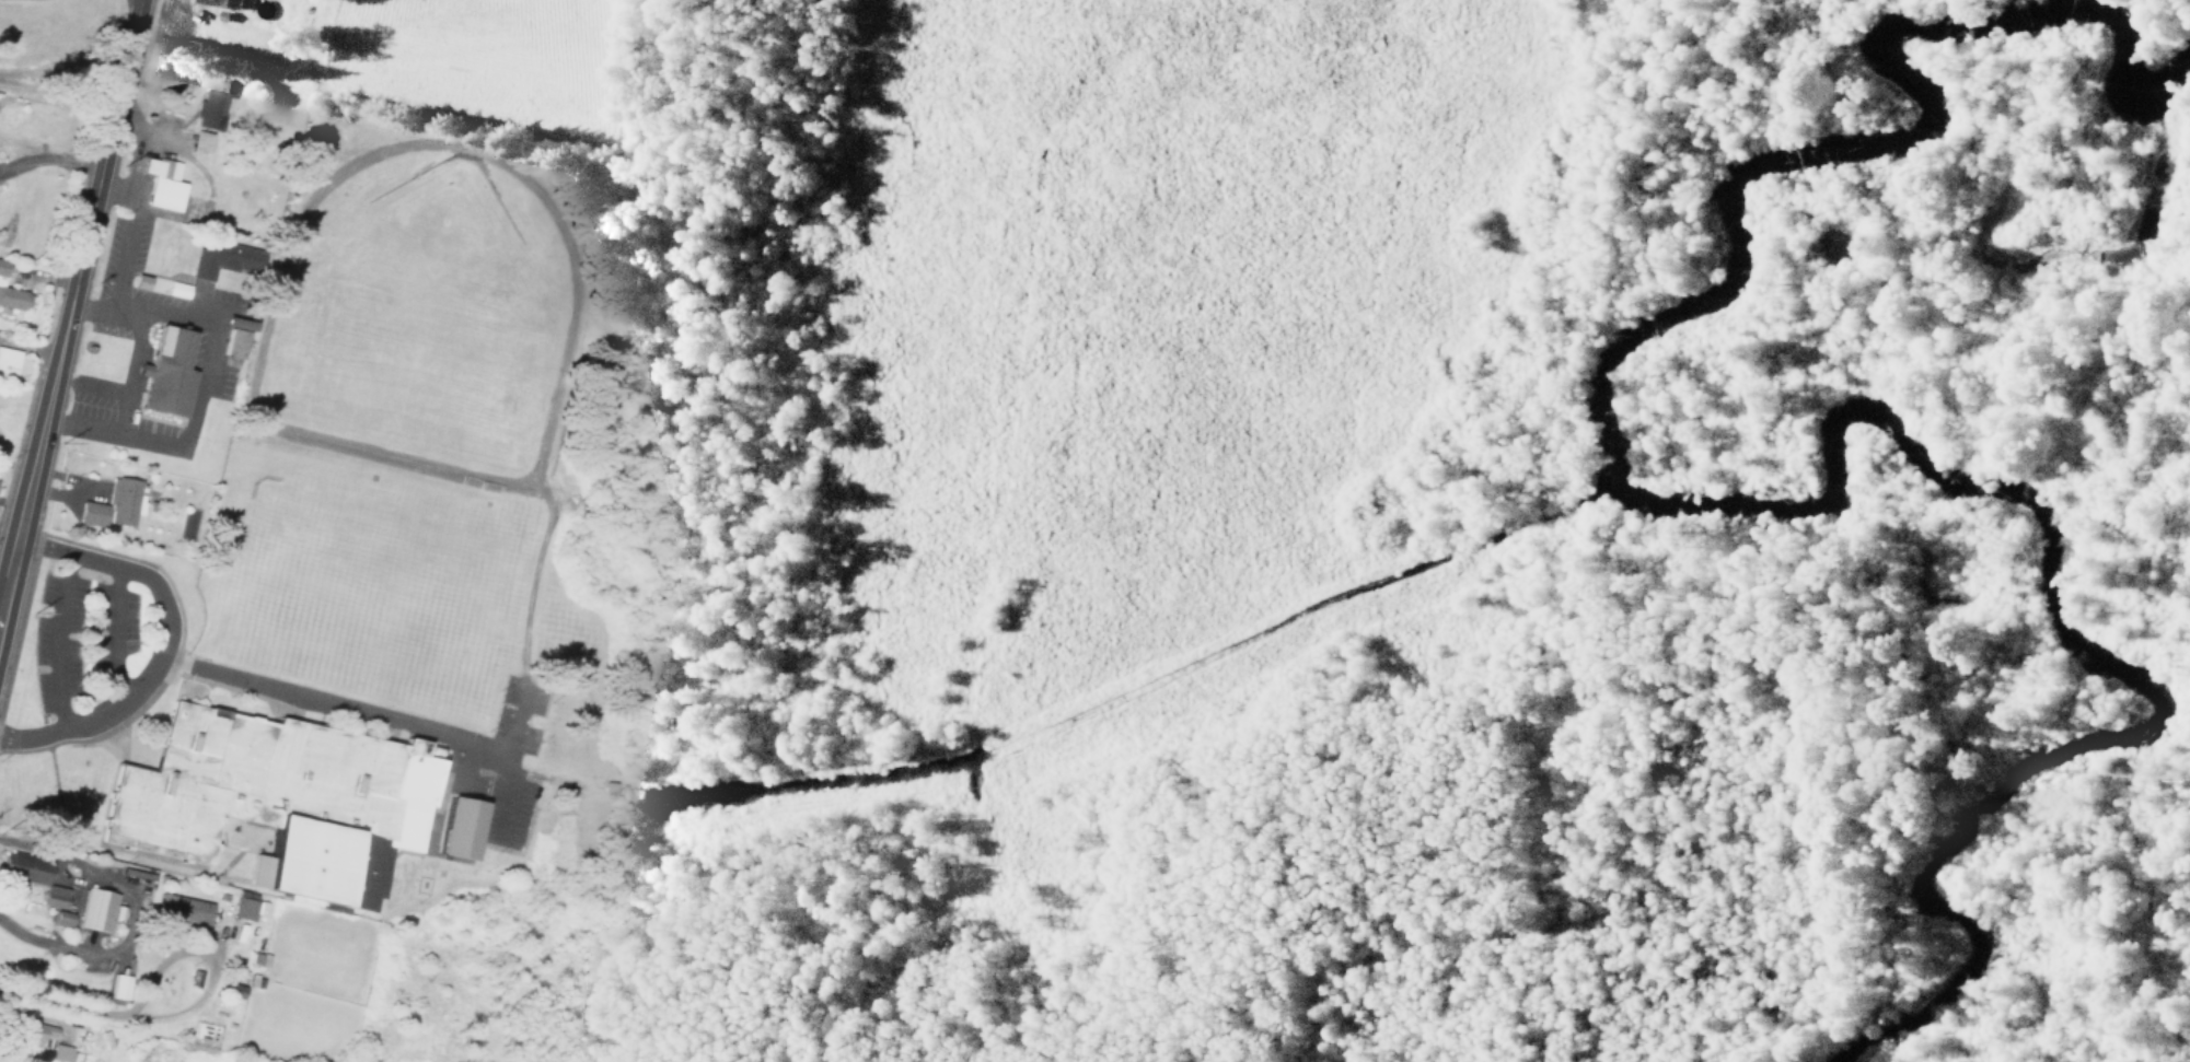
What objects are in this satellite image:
road: (35, 2)
building: (218, 2)
road: (161, 14)
road: (69, 37)
road: (33, 55)
crop: (479, 60)
road: (73, 63)
road: (97, 86)
road: (20, 92)
building: (210, 113)
road: (157, 139)
road: (7, 140)
road: (60, 140)
road: (7, 152)
road: (576, 152)
road: (49, 155)
building: (161, 182)
road: (15, 189)
road: (125, 234)
road: (558, 249)
building: (221, 258)
road: (269, 261)
road: (271, 292)
building: (11, 294)
road: (68, 301)
road: (43, 331)
building: (234, 341)
building: (7, 361)
road: (69, 366)
building: (165, 371)
road: (204, 378)
road: (127, 385)
road: (120, 415)
road: (350, 464)
road: (136, 466)
road: (536, 480)
road: (526, 481)
road: (79, 487)
building: (121, 500)
road: (177, 510)
building: (89, 512)
road: (1845, 535)
road: (117, 545)
road: (43, 546)
road: (127, 572)
park: (367, 586)
road: (30, 632)
road: (112, 635)
parking lot: (99, 639)
road: (86, 640)
road: (174, 663)
road: (228, 665)
road: (18, 667)
road: (196, 679)
road: (370, 713)
road: (105, 717)
road: (558, 720)
road: (32, 735)
road: (427, 735)
road: (105, 737)
road: (65, 742)
road: (130, 742)
road: (510, 748)
road: (148, 751)
road: (130, 756)
parking lot: (506, 762)
road: (514, 789)
road: (463, 790)
building: (282, 801)
road: (1099, 801)
building: (461, 828)
road: (127, 853)
road: (1546, 854)
building: (15, 864)
building: (70, 897)
road: (108, 897)
building: (244, 903)
building: (96, 910)
building: (182, 910)
building: (232, 927)
road: (211, 959)
road: (893, 972)
building: (117, 987)
road: (56, 1001)
building: (37, 1032)
building: (51, 1049)
building: (63, 1053)

